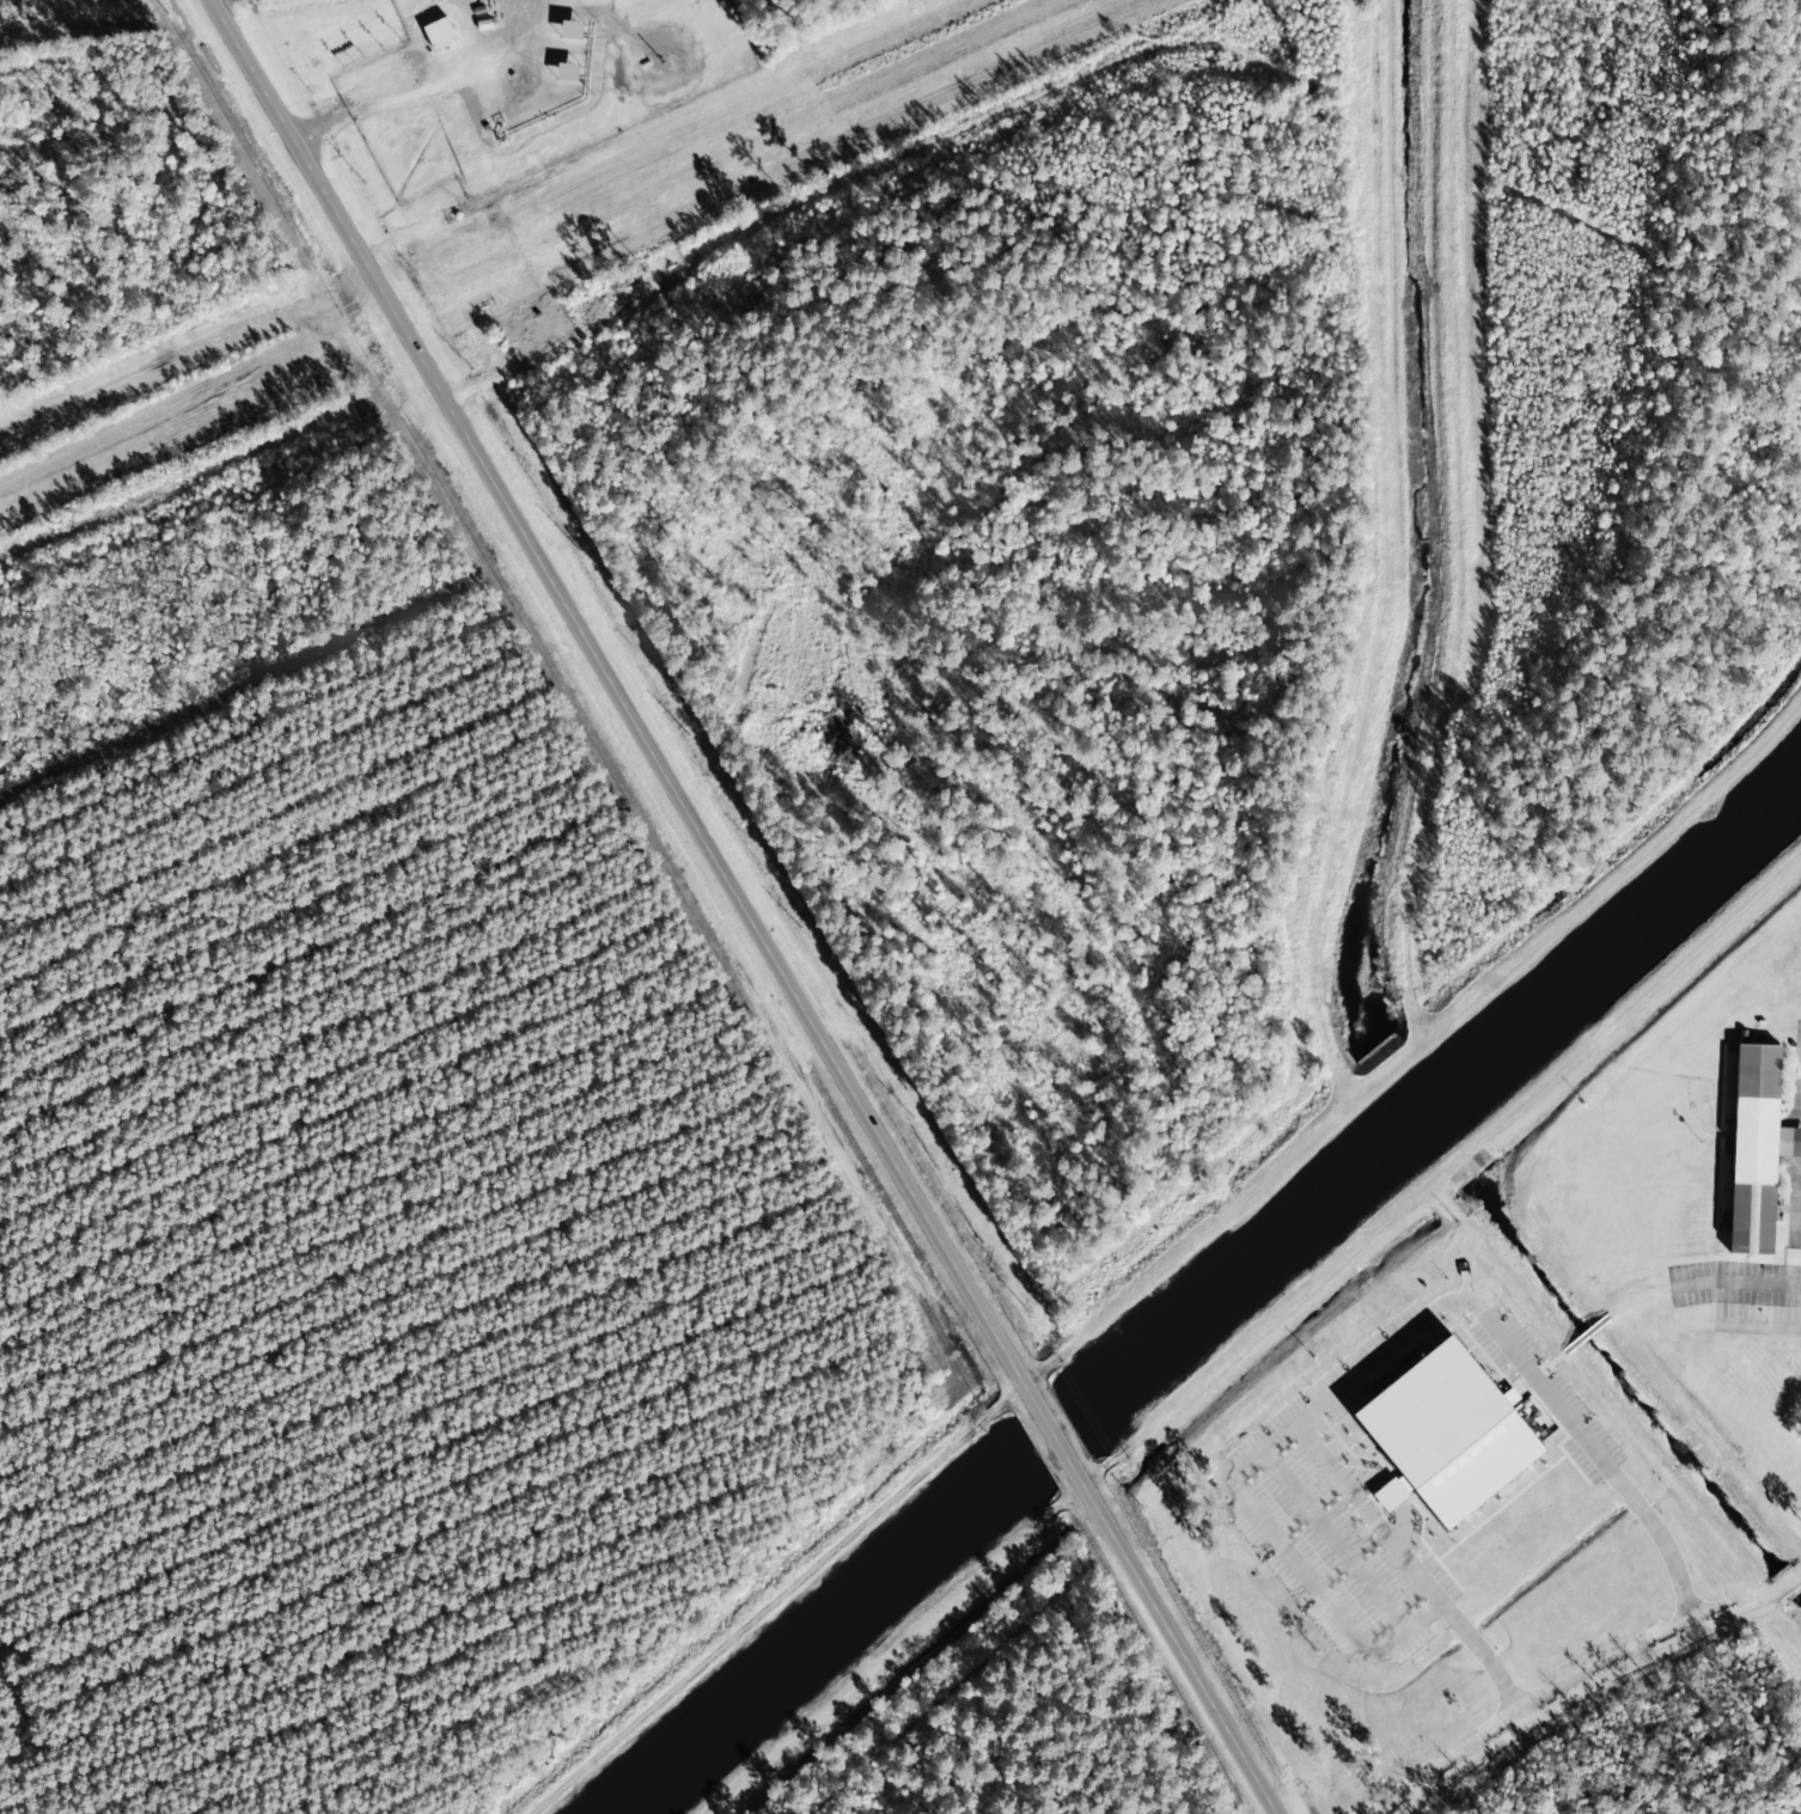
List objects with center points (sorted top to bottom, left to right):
power tower: (39, 13)
building: (439, 33)
road: (619, 697)
road: (1800, 1044)
road: (1796, 1111)
road: (1795, 1141)
building: (1756, 1149)
road: (1794, 1197)
road: (1739, 1282)
building: (1447, 1433)
road: (1056, 1440)
building: (1390, 1495)
road: (1178, 1649)

